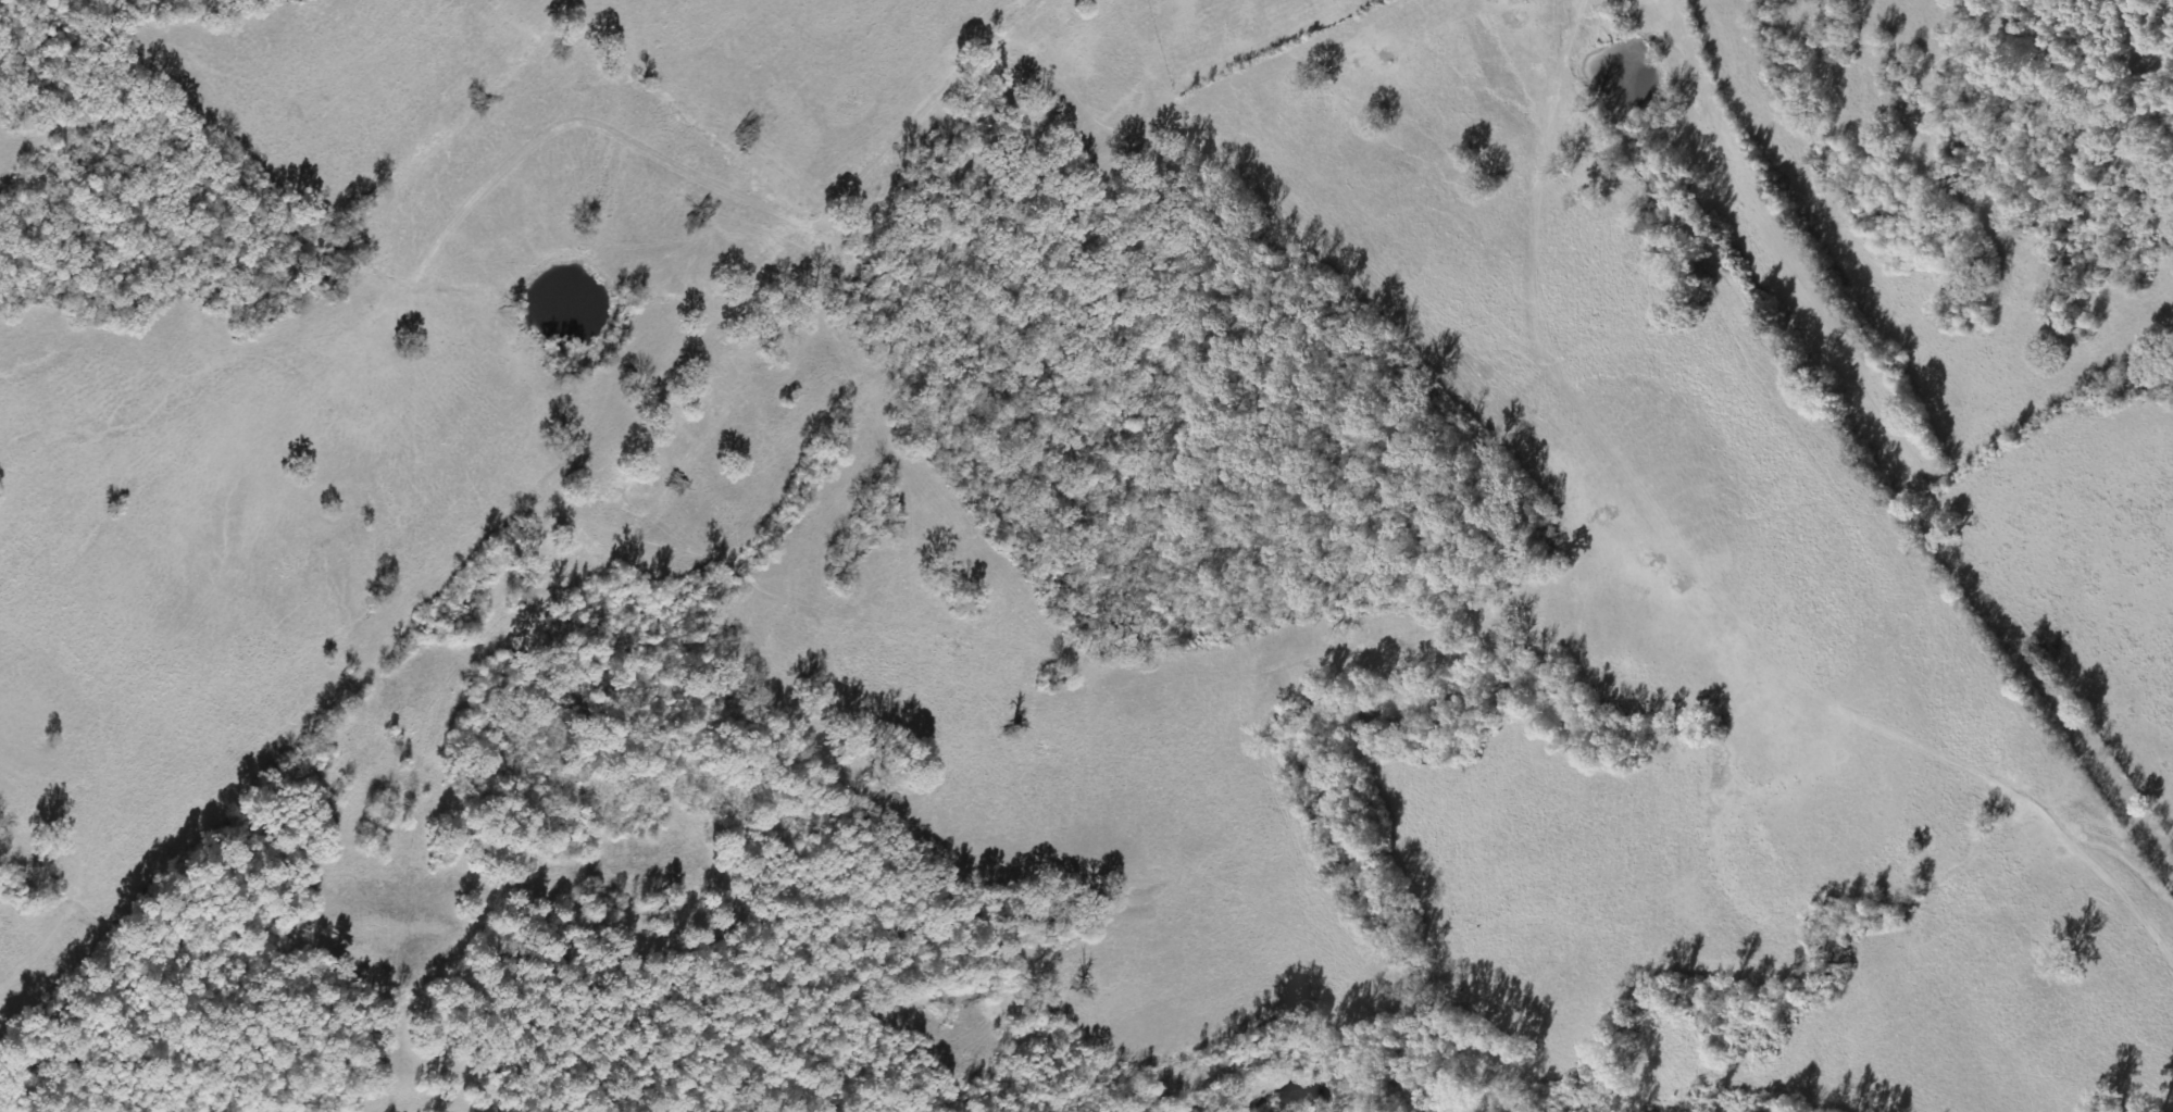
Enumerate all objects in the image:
road: (1695, 569)

